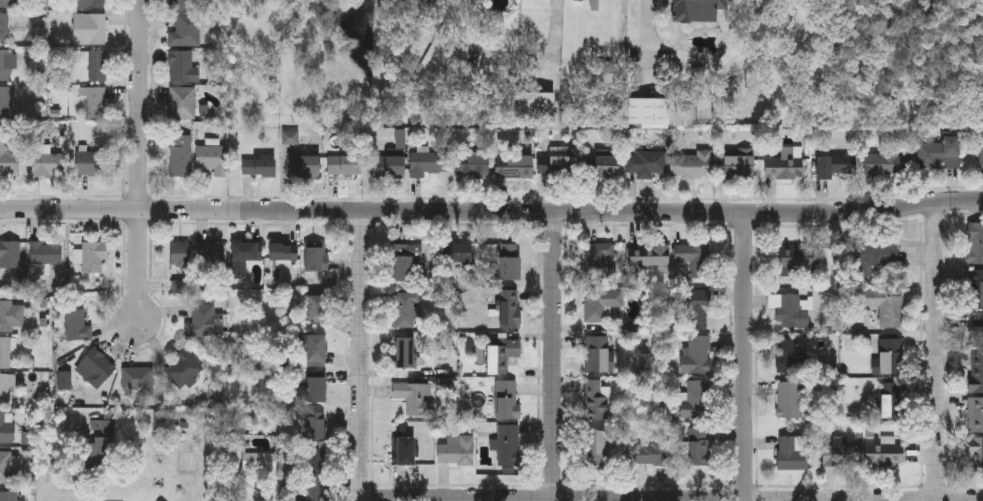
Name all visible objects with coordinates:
building: (8, 2)
building: (91, 3)
building: (182, 4)
building: (698, 10)
building: (4, 27)
building: (90, 27)
building: (186, 30)
road: (560, 31)
building: (95, 62)
building: (8, 63)
building: (182, 66)
building: (604, 72)
building: (5, 100)
building: (96, 100)
building: (182, 103)
building: (534, 105)
building: (648, 112)
building: (940, 153)
building: (982, 154)
building: (181, 156)
building: (8, 157)
road: (141, 159)
building: (212, 159)
building: (889, 161)
building: (91, 162)
building: (48, 163)
building: (427, 163)
building: (557, 163)
building: (644, 164)
building: (344, 165)
building: (690, 165)
building: (783, 165)
building: (303, 166)
building: (387, 166)
building: (513, 166)
building: (834, 166)
building: (473, 167)
building: (602, 167)
building: (736, 167)
building: (259, 168)
road: (491, 212)
building: (975, 242)
building: (46, 252)
building: (281, 252)
building: (459, 252)
building: (10, 254)
building: (179, 254)
building: (649, 255)
building: (315, 256)
building: (883, 256)
building: (93, 257)
building: (211, 257)
building: (243, 257)
building: (695, 259)
building: (507, 262)
building: (403, 263)
building: (598, 263)
building: (796, 266)
building: (975, 288)
building: (600, 303)
building: (882, 304)
building: (315, 308)
building: (507, 308)
building: (403, 309)
building: (696, 309)
building: (787, 309)
building: (11, 316)
building: (205, 321)
building: (74, 325)
building: (314, 350)
road: (939, 351)
building: (5, 352)
building: (404, 352)
building: (595, 354)
building: (696, 355)
building: (890, 355)
road: (364, 356)
road: (557, 356)
building: (788, 356)
road: (747, 357)
building: (497, 359)
building: (95, 367)
building: (183, 368)
building: (975, 373)
building: (138, 380)
building: (314, 390)
building: (413, 396)
building: (506, 398)
building: (595, 399)
building: (693, 399)
building: (789, 399)
building: (889, 399)
building: (975, 414)
building: (6, 426)
building: (314, 426)
building: (602, 442)
building: (507, 445)
building: (698, 446)
building: (455, 449)
building: (649, 450)
building: (99, 451)
building: (402, 451)
building: (791, 452)
building: (883, 452)
building: (838, 455)
building: (976, 456)
building: (259, 460)
building: (313, 461)
road: (57, 462)
building: (9, 466)
building: (314, 491)
building: (8, 496)
road: (651, 500)

